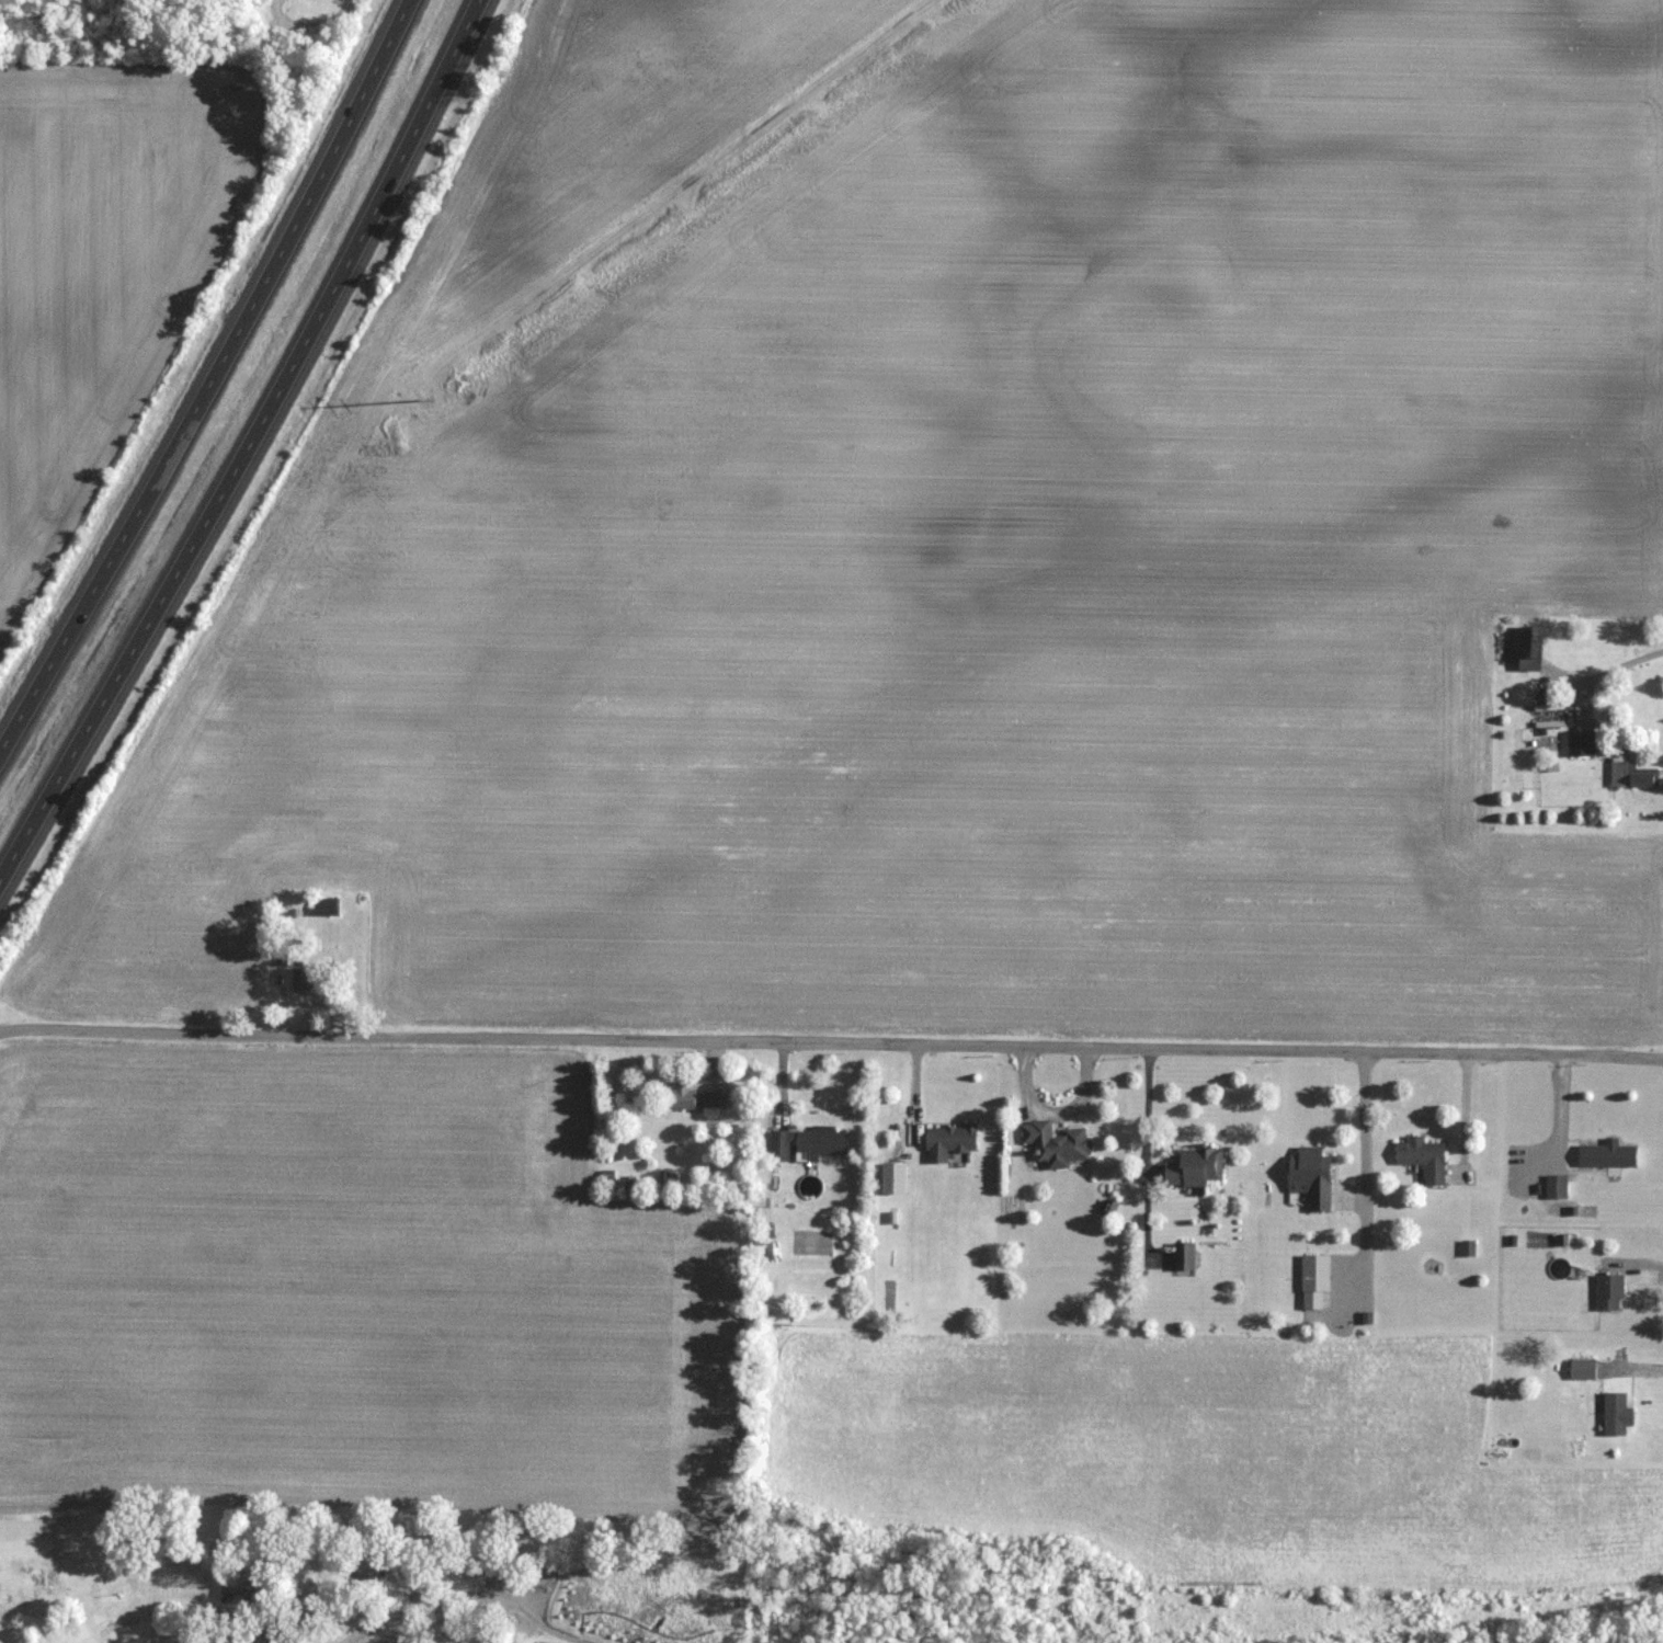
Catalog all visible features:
power tower: (456, 374)
road: (208, 379)
road: (249, 446)
building: (1529, 646)
building: (1582, 742)
building: (1633, 774)
building: (303, 979)
road: (831, 1042)
building: (699, 1098)
building: (950, 1141)
building: (809, 1143)
building: (1057, 1143)
building: (1609, 1155)
building: (1425, 1157)
building: (1196, 1167)
building: (1313, 1177)
road: (1363, 1177)
building: (1186, 1256)
building: (1317, 1280)
building: (1610, 1292)
building: (1584, 1369)
building: (1619, 1414)
road: (125, 1604)
building: (304, 1618)
road: (159, 1620)
road: (180, 1620)
road: (44, 1624)
building: (271, 1629)
building: (444, 1629)
road: (545, 1629)
road: (203, 1639)
road: (582, 1642)

